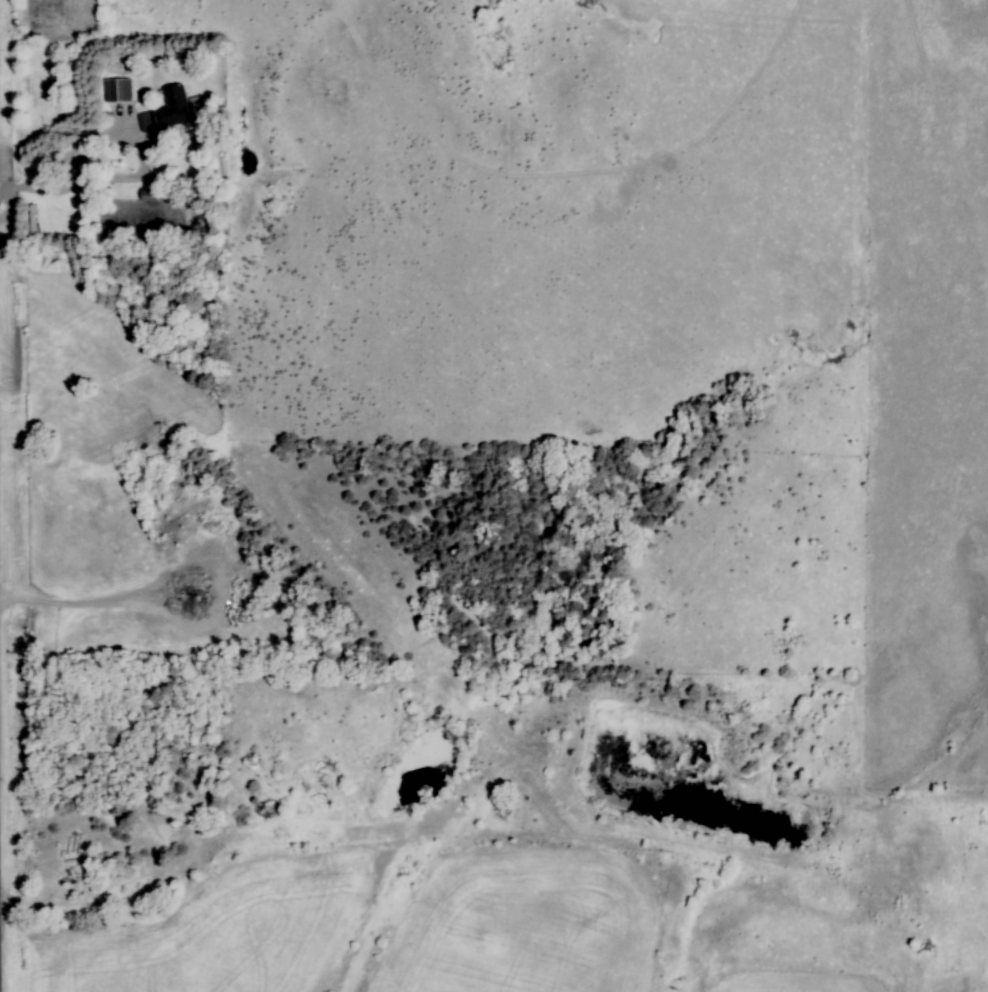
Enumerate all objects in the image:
building: (169, 111)
road: (78, 152)
crop: (523, 922)
crop: (217, 933)
crop: (791, 982)

